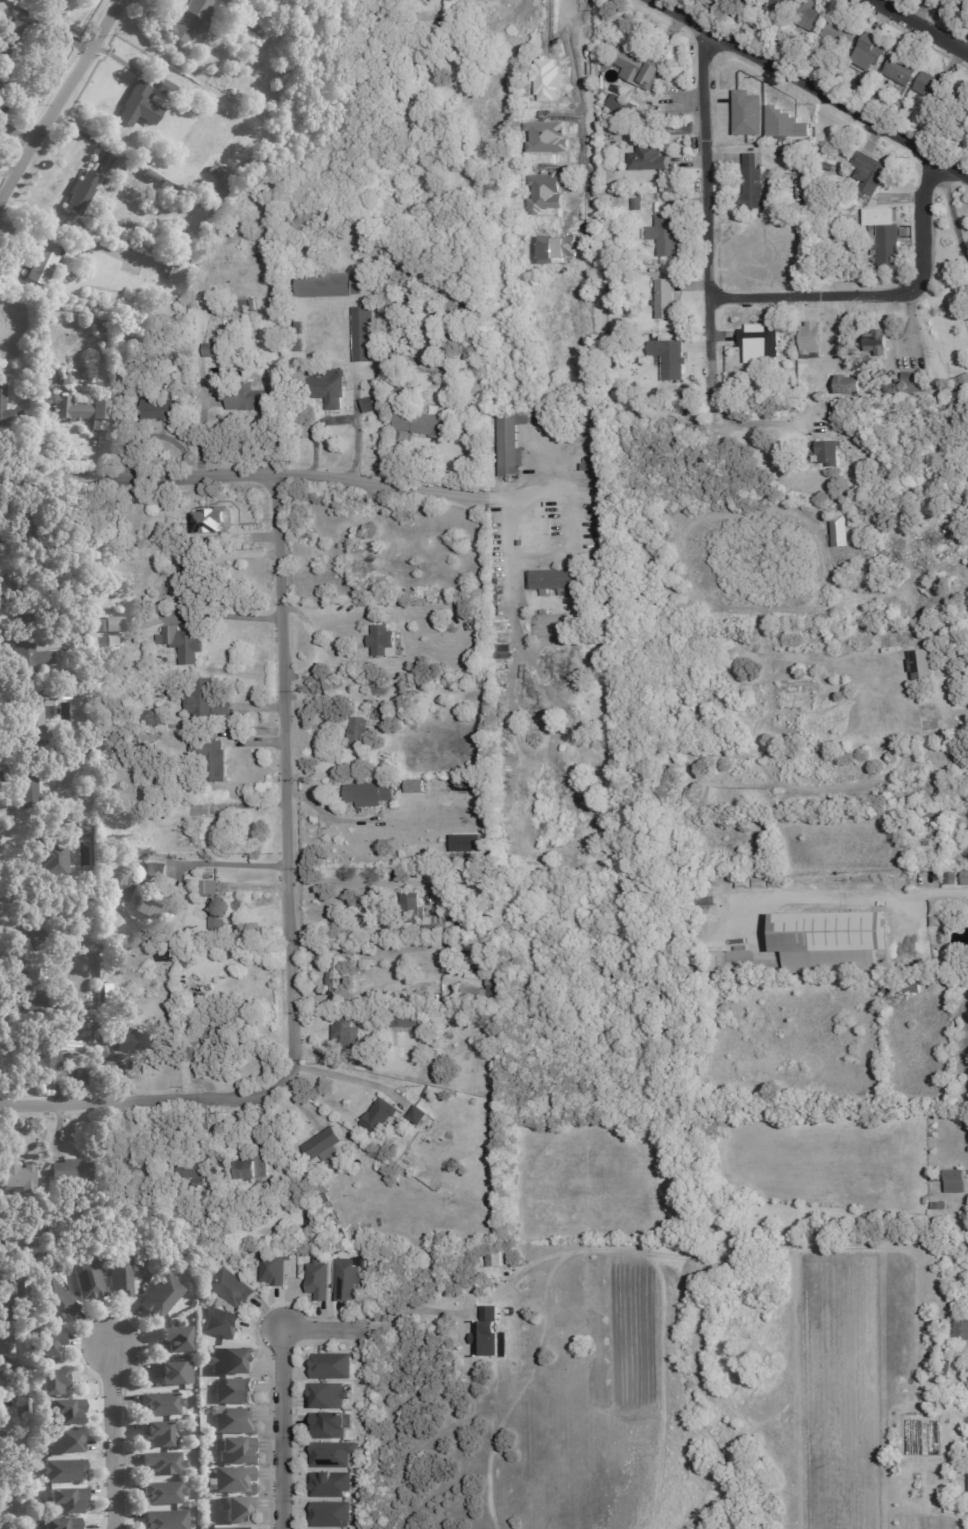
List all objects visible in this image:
building: (752, 0)
building: (746, 1)
building: (40, 2)
building: (2, 4)
building: (781, 5)
building: (958, 5)
building: (495, 6)
building: (289, 7)
building: (453, 12)
building: (811, 17)
building: (146, 20)
building: (190, 20)
road: (924, 25)
building: (238, 29)
building: (841, 33)
building: (12, 41)
building: (520, 45)
building: (871, 54)
building: (517, 60)
building: (455, 62)
building: (638, 67)
building: (903, 69)
building: (613, 87)
road: (809, 87)
building: (935, 87)
building: (0, 88)
building: (169, 91)
building: (902, 91)
building: (677, 93)
road: (60, 100)
building: (187, 101)
building: (961, 103)
building: (624, 106)
building: (139, 107)
building: (193, 107)
building: (743, 112)
building: (779, 123)
building: (613, 128)
road: (587, 130)
building: (655, 136)
building: (648, 158)
building: (804, 158)
building: (120, 163)
building: (828, 166)
building: (95, 167)
building: (870, 174)
building: (151, 175)
building: (591, 175)
building: (776, 179)
building: (219, 180)
building: (752, 184)
building: (165, 185)
building: (81, 192)
building: (884, 199)
building: (598, 201)
building: (637, 204)
building: (810, 207)
road: (951, 209)
road: (703, 211)
road: (921, 218)
building: (885, 234)
building: (665, 237)
building: (44, 261)
building: (640, 269)
building: (175, 273)
building: (835, 273)
building: (329, 285)
building: (61, 296)
road: (812, 296)
building: (182, 298)
building: (669, 301)
building: (231, 307)
building: (400, 310)
building: (94, 320)
building: (299, 327)
building: (363, 334)
building: (135, 340)
building: (757, 340)
building: (810, 340)
building: (103, 343)
building: (299, 345)
building: (212, 350)
building: (670, 360)
building: (958, 384)
building: (912, 385)
building: (325, 386)
building: (403, 386)
building: (121, 395)
building: (622, 396)
building: (247, 397)
building: (368, 405)
road: (356, 406)
building: (833, 408)
building: (78, 409)
building: (160, 409)
building: (8, 412)
building: (119, 417)
road: (339, 420)
road: (754, 422)
building: (425, 425)
building: (303, 430)
building: (511, 445)
building: (830, 452)
building: (587, 477)
road: (240, 481)
building: (139, 500)
building: (853, 519)
building: (215, 521)
building: (26, 531)
building: (840, 531)
building: (518, 533)
building: (520, 543)
building: (348, 556)
building: (39, 570)
building: (121, 572)
building: (155, 577)
building: (60, 579)
building: (522, 579)
road: (507, 580)
building: (594, 581)
building: (553, 582)
building: (399, 584)
building: (187, 587)
building: (535, 598)
building: (27, 602)
building: (117, 623)
building: (101, 624)
building: (477, 624)
building: (550, 626)
building: (381, 641)
building: (184, 642)
building: (30, 653)
building: (135, 664)
building: (922, 665)
road: (939, 683)
building: (208, 696)
building: (36, 714)
building: (154, 716)
building: (388, 716)
building: (362, 730)
building: (147, 748)
building: (37, 749)
building: (210, 758)
road: (287, 785)
building: (452, 785)
building: (415, 787)
building: (27, 789)
building: (369, 795)
building: (966, 799)
building: (194, 809)
building: (937, 812)
road: (331, 817)
building: (86, 830)
building: (469, 854)
building: (52, 858)
road: (227, 862)
road: (176, 869)
building: (540, 869)
building: (157, 870)
building: (468, 875)
building: (130, 876)
building: (965, 878)
building: (928, 879)
building: (952, 879)
road: (357, 881)
road: (255, 886)
building: (208, 887)
building: (63, 891)
building: (706, 898)
road: (845, 898)
building: (148, 906)
building: (221, 913)
building: (420, 914)
building: (936, 914)
road: (757, 923)
building: (42, 933)
building: (832, 940)
building: (946, 955)
building: (188, 959)
building: (365, 963)
building: (731, 963)
building: (18, 966)
building: (129, 974)
building: (335, 974)
building: (492, 985)
building: (902, 986)
building: (40, 992)
building: (105, 993)
building: (394, 994)
building: (474, 995)
building: (247, 1001)
building: (383, 1001)
building: (444, 1012)
building: (456, 1012)
building: (366, 1013)
building: (424, 1019)
building: (401, 1020)
building: (83, 1021)
building: (92, 1025)
building: (346, 1033)
building: (220, 1035)
building: (92, 1036)
building: (128, 1040)
building: (192, 1051)
building: (65, 1053)
building: (46, 1058)
building: (82, 1063)
building: (87, 1073)
road: (351, 1080)
building: (478, 1092)
building: (425, 1094)
road: (141, 1102)
building: (380, 1115)
building: (417, 1115)
building: (324, 1146)
building: (194, 1168)
building: (250, 1168)
building: (73, 1169)
building: (136, 1169)
park: (742, 1172)
building: (20, 1175)
building: (937, 1179)
building: (957, 1184)
building: (318, 1187)
building: (217, 1199)
building: (323, 1202)
building: (924, 1202)
building: (308, 1207)
building: (938, 1207)
building: (2, 1209)
building: (216, 1210)
building: (328, 1212)
building: (140, 1217)
building: (313, 1222)
building: (838, 1228)
building: (343, 1235)
building: (56, 1242)
building: (173, 1242)
building: (92, 1244)
building: (136, 1246)
road: (602, 1255)
building: (490, 1258)
building: (359, 1262)
building: (270, 1268)
building: (122, 1276)
road: (490, 1277)
building: (89, 1279)
building: (313, 1279)
building: (343, 1280)
building: (227, 1286)
building: (9, 1295)
building: (163, 1296)
building: (54, 1299)
road: (409, 1310)
building: (216, 1321)
road: (322, 1327)
building: (482, 1332)
building: (959, 1332)
building: (176, 1338)
road: (792, 1339)
building: (46, 1345)
building: (958, 1345)
building: (222, 1359)
building: (947, 1364)
building: (333, 1366)
building: (19, 1373)
building: (175, 1373)
building: (364, 1377)
building: (2, 1380)
building: (53, 1382)
building: (20, 1386)
building: (235, 1391)
building: (330, 1396)
building: (162, 1403)
building: (24, 1411)
building: (19, 1412)
building: (65, 1412)
building: (233, 1420)
building: (22, 1426)
building: (331, 1426)
road: (285, 1428)
road: (774, 1429)
building: (158, 1435)
road: (113, 1439)
building: (1, 1442)
building: (65, 1442)
building: (235, 1450)
building: (331, 1456)
road: (793, 1457)
building: (165, 1463)
building: (64, 1470)
building: (233, 1479)
building: (5, 1485)
building: (331, 1485)
building: (165, 1493)
building: (22, 1494)
building: (66, 1500)
building: (238, 1510)
building: (331, 1515)
building: (167, 1520)
building: (62, 1523)
building: (229, 1528)

